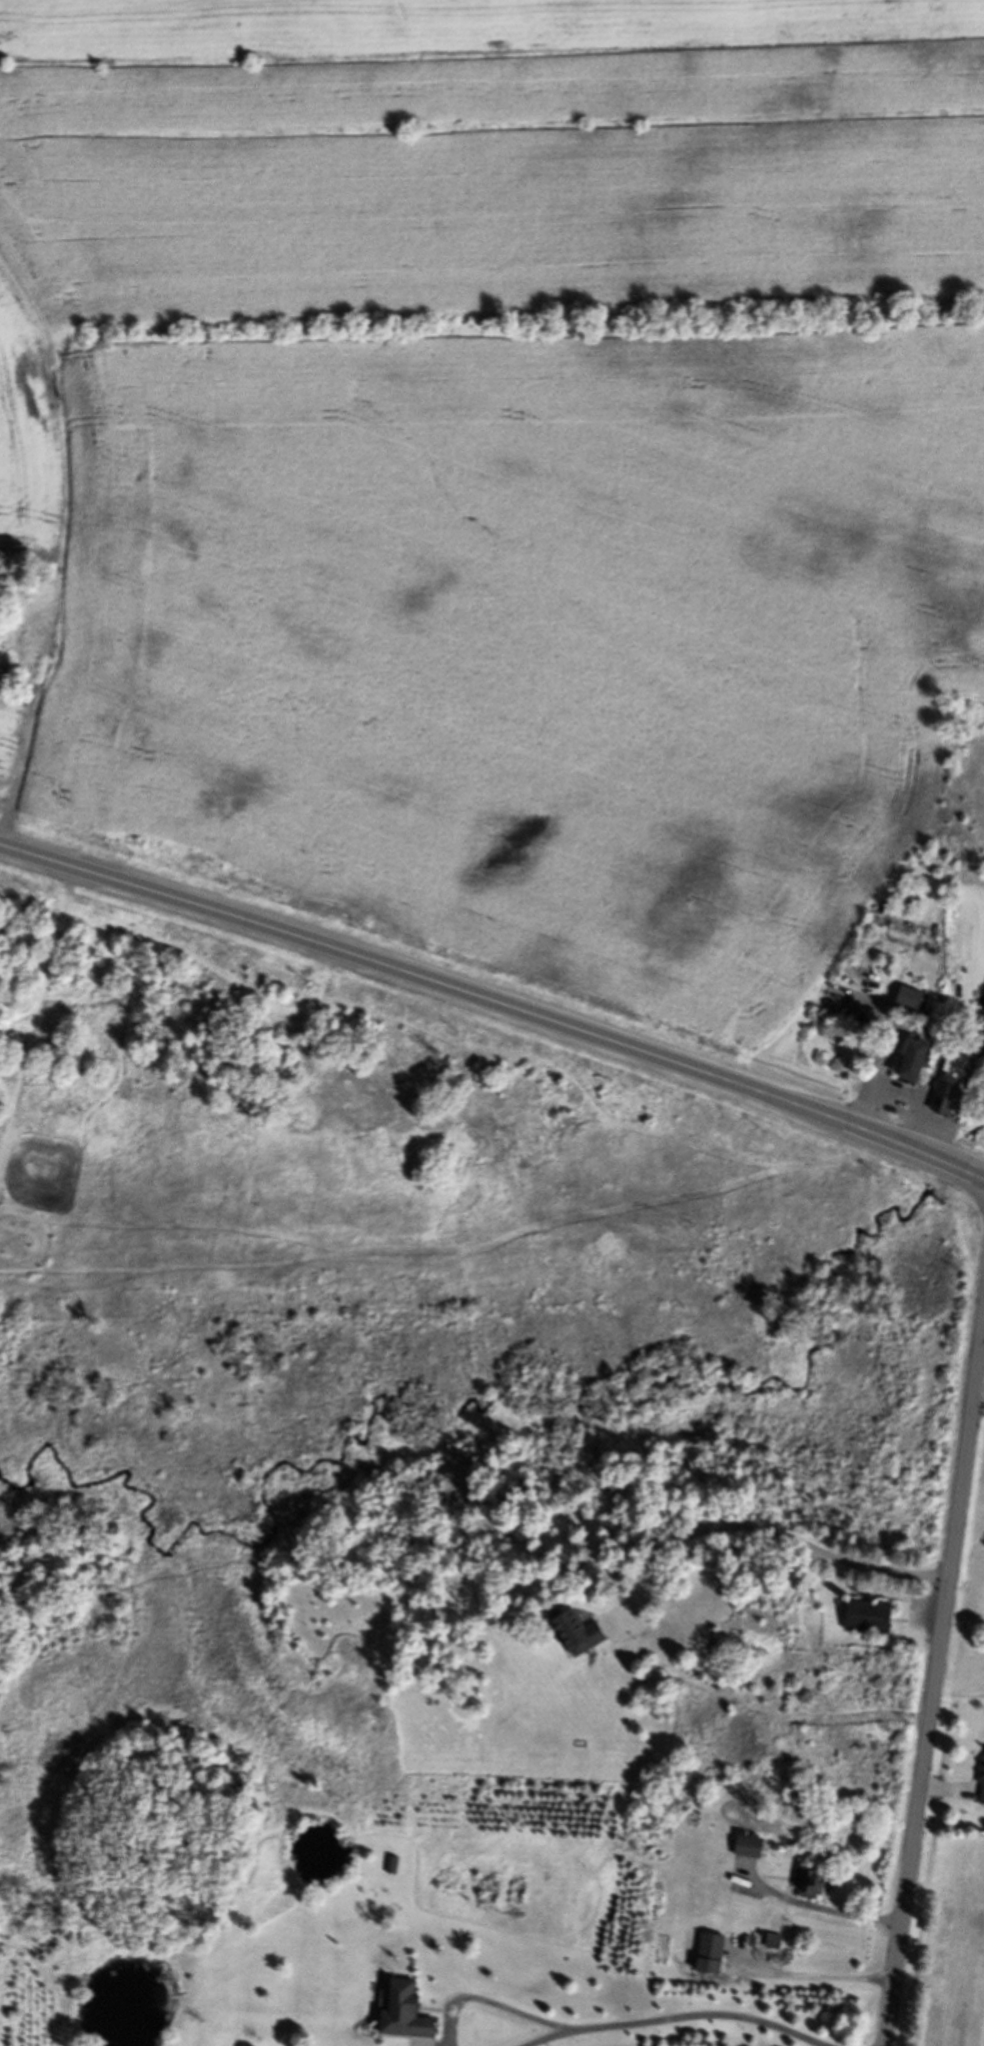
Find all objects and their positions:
road: (495, 1004)
building: (904, 1063)
building: (945, 1086)
road: (981, 1367)
road: (978, 1408)
road: (761, 1534)
building: (860, 1620)
building: (573, 1635)
road: (935, 1683)
building: (980, 1785)
building: (750, 1849)
building: (391, 1868)
building: (808, 1887)
road: (817, 1910)
road: (813, 1975)
road: (482, 1999)
building: (399, 2014)
road: (693, 2015)
road: (538, 2038)

